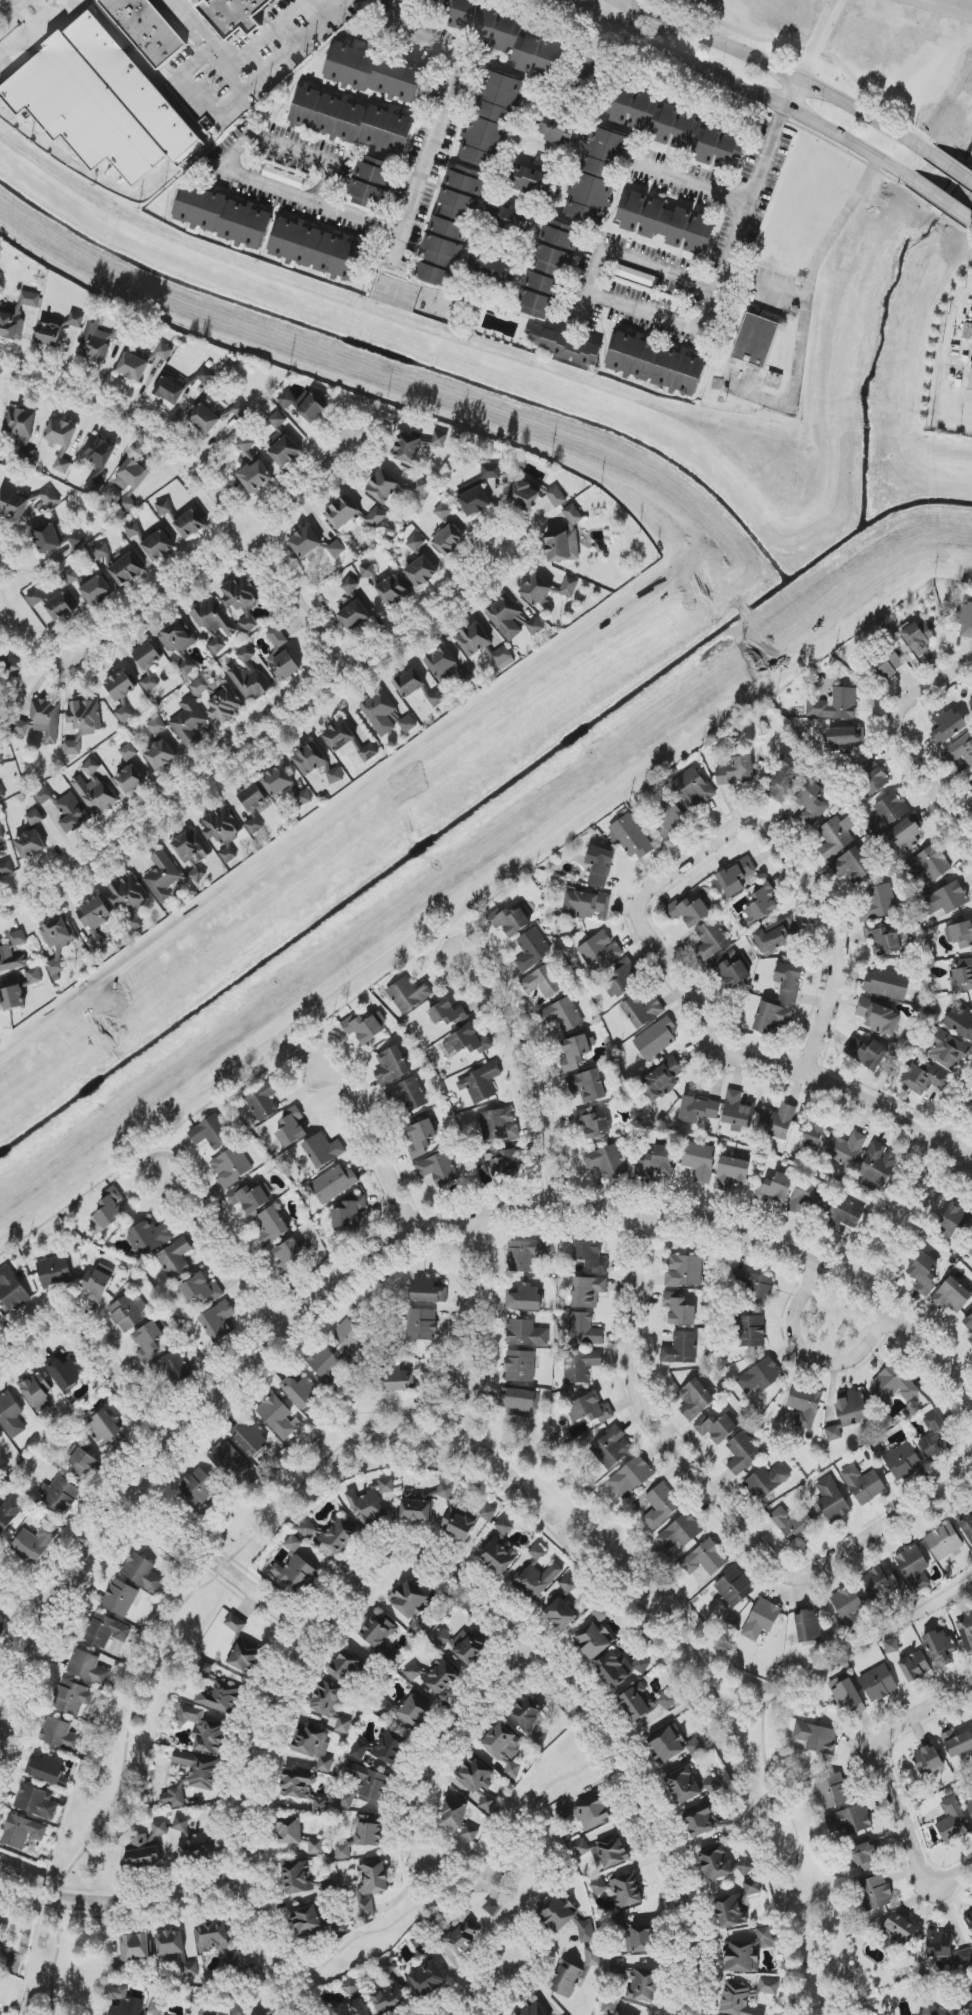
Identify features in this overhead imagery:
road: (5, 4)
road: (946, 4)
road: (614, 13)
building: (234, 15)
building: (475, 20)
building: (146, 29)
road: (42, 38)
road: (817, 40)
building: (528, 47)
road: (240, 62)
road: (780, 72)
building: (375, 73)
road: (740, 88)
road: (793, 96)
building: (101, 103)
road: (443, 113)
building: (491, 119)
building: (351, 121)
building: (676, 128)
building: (554, 131)
road: (950, 168)
road: (87, 171)
building: (277, 174)
building: (596, 177)
road: (254, 182)
building: (372, 182)
building: (532, 182)
road: (692, 183)
road: (326, 185)
road: (941, 201)
building: (224, 217)
building: (509, 218)
road: (744, 221)
road: (971, 222)
building: (665, 223)
building: (450, 226)
building: (319, 250)
road: (622, 257)
building: (493, 270)
building: (549, 270)
road: (779, 292)
road: (806, 310)
road: (645, 313)
building: (17, 315)
building: (76, 319)
building: (49, 335)
road: (969, 337)
building: (756, 340)
building: (95, 341)
building: (566, 346)
building: (164, 351)
building: (657, 364)
building: (133, 366)
building: (205, 376)
building: (971, 379)
building: (169, 390)
building: (286, 400)
building: (313, 408)
building: (204, 418)
building: (22, 430)
building: (61, 432)
building: (282, 442)
building: (245, 444)
building: (416, 446)
building: (98, 459)
building: (62, 462)
building: (255, 476)
building: (492, 481)
building: (130, 482)
road: (205, 486)
building: (533, 495)
building: (49, 497)
building: (475, 501)
building: (13, 504)
building: (163, 507)
building: (443, 511)
building: (342, 512)
building: (374, 517)
building: (190, 524)
building: (132, 529)
building: (47, 538)
building: (564, 539)
building: (448, 540)
building: (305, 542)
building: (415, 543)
building: (158, 546)
building: (336, 548)
building: (101, 550)
road: (216, 564)
building: (124, 567)
building: (367, 570)
building: (421, 571)
building: (71, 576)
building: (350, 585)
building: (394, 590)
building: (97, 591)
building: (35, 597)
building: (242, 600)
building: (61, 607)
building: (354, 615)
building: (512, 619)
building: (964, 620)
building: (215, 624)
building: (918, 636)
building: (177, 637)
building: (481, 645)
road: (901, 648)
building: (147, 655)
building: (281, 656)
building: (890, 663)
building: (448, 667)
building: (248, 677)
building: (149, 682)
building: (409, 683)
building: (200, 688)
building: (122, 693)
building: (436, 698)
building: (225, 704)
building: (834, 705)
building: (385, 715)
building: (40, 721)
building: (188, 722)
building: (82, 723)
building: (156, 725)
building: (947, 726)
building: (845, 740)
road: (898, 740)
building: (349, 741)
building: (961, 749)
building: (128, 752)
road: (261, 754)
building: (161, 755)
building: (0, 756)
building: (315, 763)
building: (736, 772)
building: (871, 777)
building: (130, 780)
building: (784, 780)
building: (284, 785)
building: (970, 785)
building: (693, 788)
building: (94, 790)
building: (1, 793)
building: (252, 798)
building: (812, 802)
building: (66, 809)
building: (888, 813)
building: (35, 817)
building: (669, 817)
building: (254, 825)
road: (650, 830)
building: (1, 831)
building: (223, 831)
building: (906, 834)
building: (630, 836)
building: (836, 836)
road: (970, 839)
building: (30, 844)
building: (2, 851)
building: (193, 853)
building: (928, 864)
building: (600, 865)
building: (851, 866)
building: (6, 868)
building: (162, 876)
building: (129, 897)
road: (481, 897)
building: (946, 899)
building: (877, 903)
building: (761, 904)
building: (587, 905)
road: (826, 905)
building: (689, 911)
building: (95, 919)
building: (510, 920)
building: (59, 932)
building: (960, 934)
building: (776, 936)
building: (711, 940)
building: (883, 941)
building: (532, 949)
building: (6, 950)
building: (599, 951)
building: (56, 967)
building: (731, 969)
building: (962, 975)
building: (34, 976)
building: (624, 978)
building: (543, 982)
building: (789, 982)
building: (887, 984)
building: (408, 994)
building: (12, 998)
building: (644, 1009)
building: (447, 1013)
building: (563, 1015)
building: (772, 1017)
building: (879, 1017)
building: (960, 1021)
building: (365, 1027)
building: (656, 1039)
building: (470, 1040)
building: (946, 1049)
building: (576, 1052)
building: (867, 1052)
road: (736, 1055)
building: (391, 1066)
road: (537, 1074)
building: (923, 1078)
building: (662, 1080)
building: (480, 1083)
building: (588, 1086)
building: (407, 1094)
building: (264, 1100)
building: (698, 1109)
building: (738, 1111)
building: (777, 1122)
building: (592, 1124)
building: (498, 1125)
building: (291, 1127)
building: (211, 1132)
building: (812, 1133)
building: (420, 1137)
road: (375, 1140)
building: (845, 1149)
building: (323, 1150)
building: (699, 1160)
building: (606, 1161)
building: (657, 1161)
building: (506, 1162)
building: (879, 1164)
building: (232, 1166)
building: (438, 1169)
building: (731, 1173)
building: (334, 1184)
building: (775, 1188)
road: (913, 1194)
building: (251, 1199)
building: (807, 1199)
building: (109, 1209)
building: (350, 1213)
building: (843, 1214)
building: (955, 1220)
building: (270, 1226)
building: (149, 1237)
road: (392, 1241)
road: (230, 1244)
building: (969, 1248)
building: (526, 1255)
building: (592, 1256)
building: (288, 1258)
building: (175, 1259)
building: (54, 1271)
building: (684, 1271)
building: (924, 1273)
building: (98, 1282)
building: (754, 1287)
building: (12, 1290)
building: (201, 1290)
building: (428, 1291)
building: (588, 1291)
building: (951, 1296)
road: (475, 1297)
building: (523, 1298)
building: (680, 1310)
building: (130, 1313)
building: (219, 1321)
building: (0, 1322)
building: (969, 1323)
building: (420, 1325)
building: (584, 1329)
building: (751, 1331)
building: (526, 1333)
building: (353, 1338)
building: (970, 1338)
building: (150, 1340)
building: (681, 1349)
road: (92, 1356)
road: (811, 1357)
building: (581, 1365)
building: (520, 1366)
building: (328, 1367)
building: (174, 1368)
building: (64, 1371)
building: (761, 1376)
building: (395, 1379)
building: (895, 1384)
building: (301, 1391)
building: (37, 1392)
building: (695, 1399)
building: (518, 1402)
road: (451, 1403)
building: (805, 1405)
building: (589, 1409)
building: (848, 1413)
building: (11, 1416)
building: (276, 1416)
road: (652, 1420)
building: (716, 1427)
building: (106, 1429)
building: (0, 1438)
building: (251, 1438)
building: (937, 1438)
building: (612, 1448)
road: (487, 1450)
building: (742, 1453)
building: (230, 1459)
building: (903, 1461)
building: (84, 1464)
building: (631, 1477)
building: (762, 1480)
building: (864, 1484)
building: (199, 1487)
building: (445, 1490)
building: (60, 1494)
building: (832, 1500)
building: (371, 1504)
building: (660, 1506)
building: (416, 1507)
building: (9, 1512)
building: (465, 1522)
building: (797, 1526)
building: (967, 1527)
road: (884, 1528)
building: (680, 1532)
building: (330, 1534)
building: (944, 1541)
building: (33, 1544)
building: (293, 1544)
building: (499, 1548)
building: (537, 1551)
building: (705, 1559)
road: (218, 1565)
building: (914, 1568)
building: (142, 1572)
building: (296, 1573)
building: (537, 1580)
building: (881, 1582)
building: (569, 1584)
building: (734, 1588)
road: (22, 1597)
building: (120, 1598)
building: (411, 1600)
building: (849, 1608)
building: (560, 1614)
building: (762, 1619)
building: (236, 1623)
building: (3, 1626)
building: (808, 1626)
building: (105, 1630)
building: (966, 1631)
building: (596, 1634)
building: (381, 1636)
building: (441, 1638)
road: (868, 1640)
building: (469, 1646)
building: (891, 1646)
building: (940, 1647)
building: (245, 1656)
building: (344, 1666)
building: (87, 1667)
building: (915, 1667)
building: (619, 1668)
building: (204, 1669)
building: (412, 1672)
building: (441, 1676)
building: (878, 1683)
road: (727, 1686)
building: (847, 1695)
building: (221, 1697)
building: (72, 1698)
building: (327, 1700)
building: (644, 1702)
building: (383, 1707)
building: (414, 1712)
building: (530, 1719)
building: (343, 1725)
building: (202, 1729)
road: (892, 1730)
building: (60, 1734)
building: (817, 1737)
road: (445, 1741)
building: (673, 1744)
building: (958, 1744)
building: (313, 1746)
road: (612, 1747)
building: (380, 1748)
building: (506, 1749)
road: (762, 1749)
road: (259, 1757)
road: (594, 1761)
building: (928, 1761)
building: (199, 1769)
building: (48, 1770)
building: (478, 1782)
building: (297, 1784)
building: (683, 1785)
building: (364, 1786)
building: (832, 1791)
building: (174, 1797)
building: (35, 1802)
building: (319, 1805)
building: (969, 1805)
building: (586, 1812)
building: (454, 1814)
building: (850, 1820)
building: (707, 1821)
building: (953, 1821)
building: (181, 1824)
building: (290, 1830)
building: (367, 1830)
building: (23, 1831)
building: (470, 1833)
building: (196, 1845)
building: (314, 1846)
building: (147, 1847)
road: (538, 1848)
building: (603, 1850)
building: (343, 1851)
building: (866, 1857)
building: (716, 1863)
building: (745, 1867)
road: (916, 1868)
building: (303, 1880)
road: (499, 1885)
building: (371, 1886)
building: (599, 1886)
building: (626, 1891)
building: (875, 1893)
building: (736, 1905)
road: (122, 1906)
building: (565, 1917)
building: (969, 1920)
building: (619, 1922)
building: (308, 1923)
building: (3, 1927)
building: (339, 1927)
building: (901, 1927)
road: (386, 1929)
road: (510, 1929)
building: (462, 1937)
building: (766, 1937)
building: (642, 1938)
building: (170, 1942)
building: (136, 1948)
building: (223, 1948)
building: (947, 1948)
road: (55, 1957)
building: (742, 1957)
building: (592, 1961)
building: (13, 1964)
building: (187, 1966)
building: (117, 1970)
building: (428, 1979)
building: (567, 1980)
building: (637, 1981)
building: (350, 1986)
building: (768, 1986)
road: (488, 1988)
building: (389, 1999)
building: (200, 2000)
building: (967, 2000)
building: (737, 2001)
building: (122, 2002)
building: (610, 2006)
building: (156, 2008)
building: (352, 2009)
building: (532, 2009)
building: (238, 2010)
building: (931, 2010)
building: (222, 2013)

